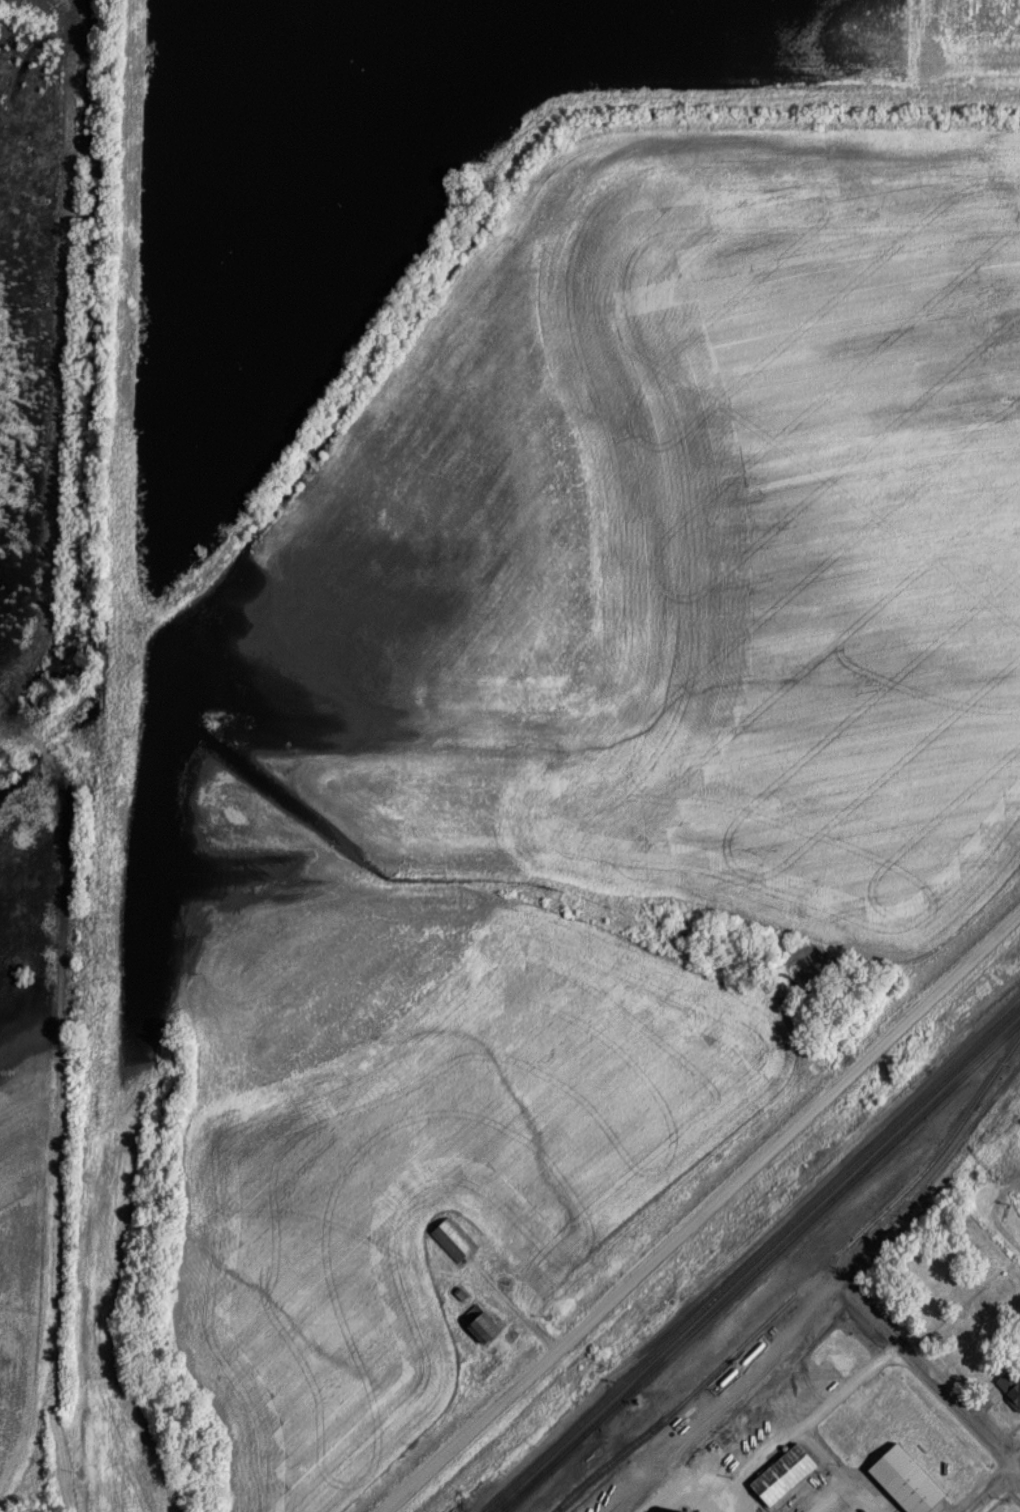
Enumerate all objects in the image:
road: (56, 371)
road: (44, 744)
road: (61, 1103)
road: (702, 1212)
railway: (807, 1225)
building: (454, 1241)
railway: (754, 1261)
railway: (803, 1288)
railway: (841, 1292)
road: (514, 1304)
building: (484, 1324)
road: (936, 1377)
building: (1011, 1387)
building: (762, 1416)
railway: (545, 1469)
railway: (548, 1469)
building: (787, 1474)
building: (910, 1480)
road: (990, 1489)

